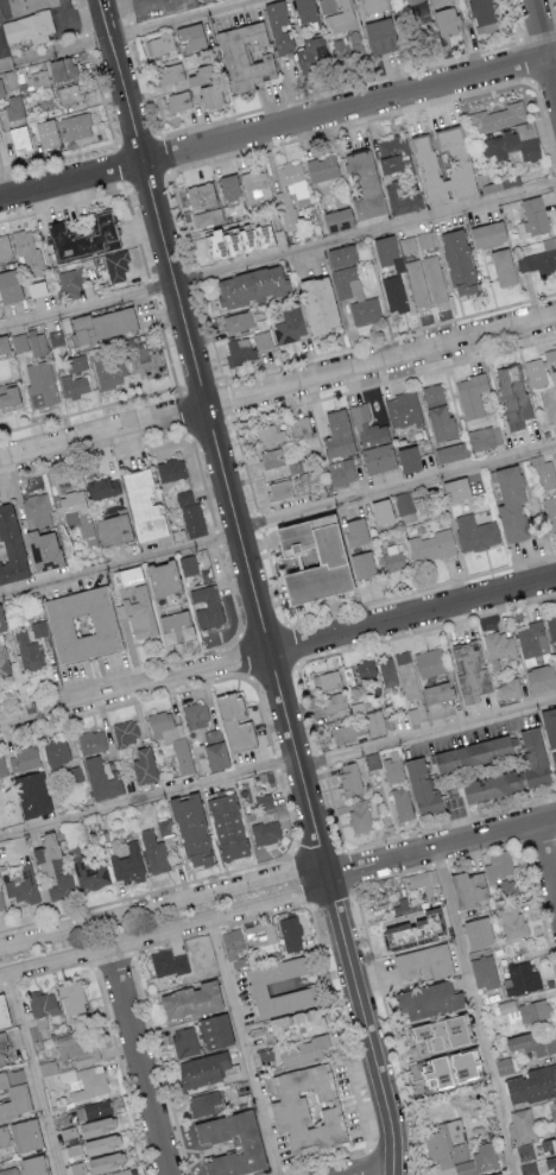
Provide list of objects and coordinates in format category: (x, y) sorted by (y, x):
building: (371, 6)
building: (304, 11)
building: (480, 11)
road: (4, 13)
building: (336, 14)
road: (75, 15)
building: (444, 21)
building: (277, 26)
building: (33, 30)
road: (135, 34)
building: (189, 36)
building: (379, 36)
building: (160, 43)
building: (347, 46)
road: (543, 46)
building: (310, 53)
building: (242, 57)
road: (1, 58)
building: (62, 68)
building: (165, 75)
building: (37, 78)
building: (1, 88)
building: (69, 94)
building: (210, 95)
building: (178, 101)
building: (13, 107)
building: (498, 116)
building: (75, 126)
road: (277, 126)
building: (45, 133)
building: (19, 138)
building: (512, 143)
building: (390, 152)
building: (456, 163)
building: (322, 168)
building: (362, 183)
building: (257, 185)
building: (229, 187)
building: (291, 192)
building: (200, 196)
building: (400, 201)
building: (533, 214)
building: (207, 217)
building: (336, 219)
building: (486, 234)
building: (83, 235)
building: (238, 240)
building: (406, 244)
building: (5, 248)
building: (385, 248)
building: (27, 252)
road: (277, 255)
building: (340, 255)
building: (539, 258)
building: (457, 261)
building: (116, 265)
building: (501, 266)
building: (435, 278)
building: (417, 283)
building: (70, 284)
building: (8, 285)
building: (249, 286)
building: (38, 288)
building: (393, 293)
building: (355, 296)
building: (318, 304)
building: (238, 321)
building: (103, 324)
building: (290, 326)
building: (263, 340)
building: (19, 342)
building: (38, 342)
building: (4, 346)
building: (239, 350)
building: (141, 360)
building: (75, 362)
building: (550, 362)
building: (109, 372)
building: (535, 372)
building: (39, 384)
building: (74, 386)
road: (278, 392)
building: (8, 396)
building: (470, 396)
building: (512, 396)
building: (403, 409)
building: (437, 412)
building: (299, 425)
building: (265, 434)
building: (337, 434)
building: (485, 437)
road: (214, 438)
building: (372, 441)
building: (451, 451)
building: (271, 457)
building: (407, 459)
building: (171, 469)
building: (342, 470)
building: (544, 473)
building: (304, 480)
building: (102, 487)
building: (278, 489)
building: (455, 489)
building: (511, 503)
building: (141, 506)
building: (37, 510)
building: (381, 511)
building: (550, 511)
building: (75, 513)
building: (190, 514)
road: (277, 522)
building: (112, 530)
building: (355, 531)
building: (475, 532)
building: (11, 544)
building: (430, 545)
building: (40, 551)
building: (392, 557)
building: (327, 562)
building: (188, 564)
building: (361, 564)
building: (204, 574)
building: (127, 575)
building: (160, 579)
building: (206, 606)
building: (122, 611)
building: (141, 619)
building: (1, 623)
building: (81, 625)
building: (551, 626)
building: (39, 627)
building: (173, 627)
building: (532, 639)
building: (555, 646)
building: (498, 647)
building: (29, 651)
road: (277, 652)
building: (4, 661)
building: (430, 662)
building: (365, 669)
building: (387, 671)
building: (469, 672)
building: (406, 674)
building: (348, 675)
building: (539, 678)
building: (328, 680)
building: (508, 689)
building: (437, 691)
building: (333, 701)
building: (442, 707)
building: (417, 714)
building: (195, 715)
building: (234, 721)
building: (374, 722)
building: (549, 727)
building: (126, 732)
building: (348, 733)
road: (427, 734)
building: (171, 738)
building: (91, 741)
building: (214, 750)
building: (57, 751)
building: (470, 754)
building: (24, 759)
building: (532, 759)
building: (554, 759)
building: (372, 760)
building: (143, 765)
building: (2, 766)
building: (391, 766)
building: (349, 778)
building: (101, 779)
building: (489, 787)
building: (421, 789)
building: (32, 795)
road: (149, 801)
building: (265, 803)
building: (402, 803)
building: (359, 816)
building: (164, 826)
building: (227, 826)
building: (191, 829)
building: (265, 832)
road: (441, 848)
building: (154, 851)
road: (548, 852)
building: (49, 853)
building: (72, 854)
building: (128, 864)
building: (499, 865)
building: (93, 877)
building: (423, 879)
building: (62, 886)
building: (467, 886)
building: (1, 901)
road: (149, 909)
building: (511, 921)
road: (179, 926)
building: (411, 929)
building: (478, 931)
building: (290, 933)
building: (259, 934)
building: (232, 942)
building: (423, 960)
building: (168, 961)
building: (484, 971)
building: (522, 978)
building: (301, 990)
building: (70, 996)
building: (190, 998)
building: (428, 998)
building: (42, 1003)
building: (507, 1005)
building: (533, 1010)
road: (478, 1011)
building: (2, 1012)
building: (293, 1022)
road: (364, 1025)
building: (38, 1028)
building: (214, 1029)
building: (438, 1031)
building: (184, 1041)
building: (531, 1043)
building: (78, 1047)
road: (242, 1047)
building: (303, 1049)
building: (1, 1053)
road: (138, 1060)
building: (504, 1066)
building: (451, 1067)
building: (206, 1068)
road: (32, 1073)
building: (67, 1074)
building: (89, 1082)
building: (531, 1084)
building: (13, 1097)
building: (201, 1103)
building: (304, 1106)
building: (94, 1110)
building: (552, 1113)
building: (97, 1125)
building: (523, 1125)
building: (69, 1131)
building: (26, 1133)
building: (4, 1136)
building: (248, 1138)
road: (372, 1141)
building: (446, 1142)
building: (101, 1143)
building: (549, 1143)
building: (72, 1149)
building: (525, 1151)
building: (488, 1158)
building: (106, 1161)
building: (32, 1164)
building: (77, 1167)
building: (465, 1168)
building: (527, 1168)
building: (8, 1170)
road: (379, 1170)
building: (121, 1171)
building: (494, 1173)
building: (555, 1174)

